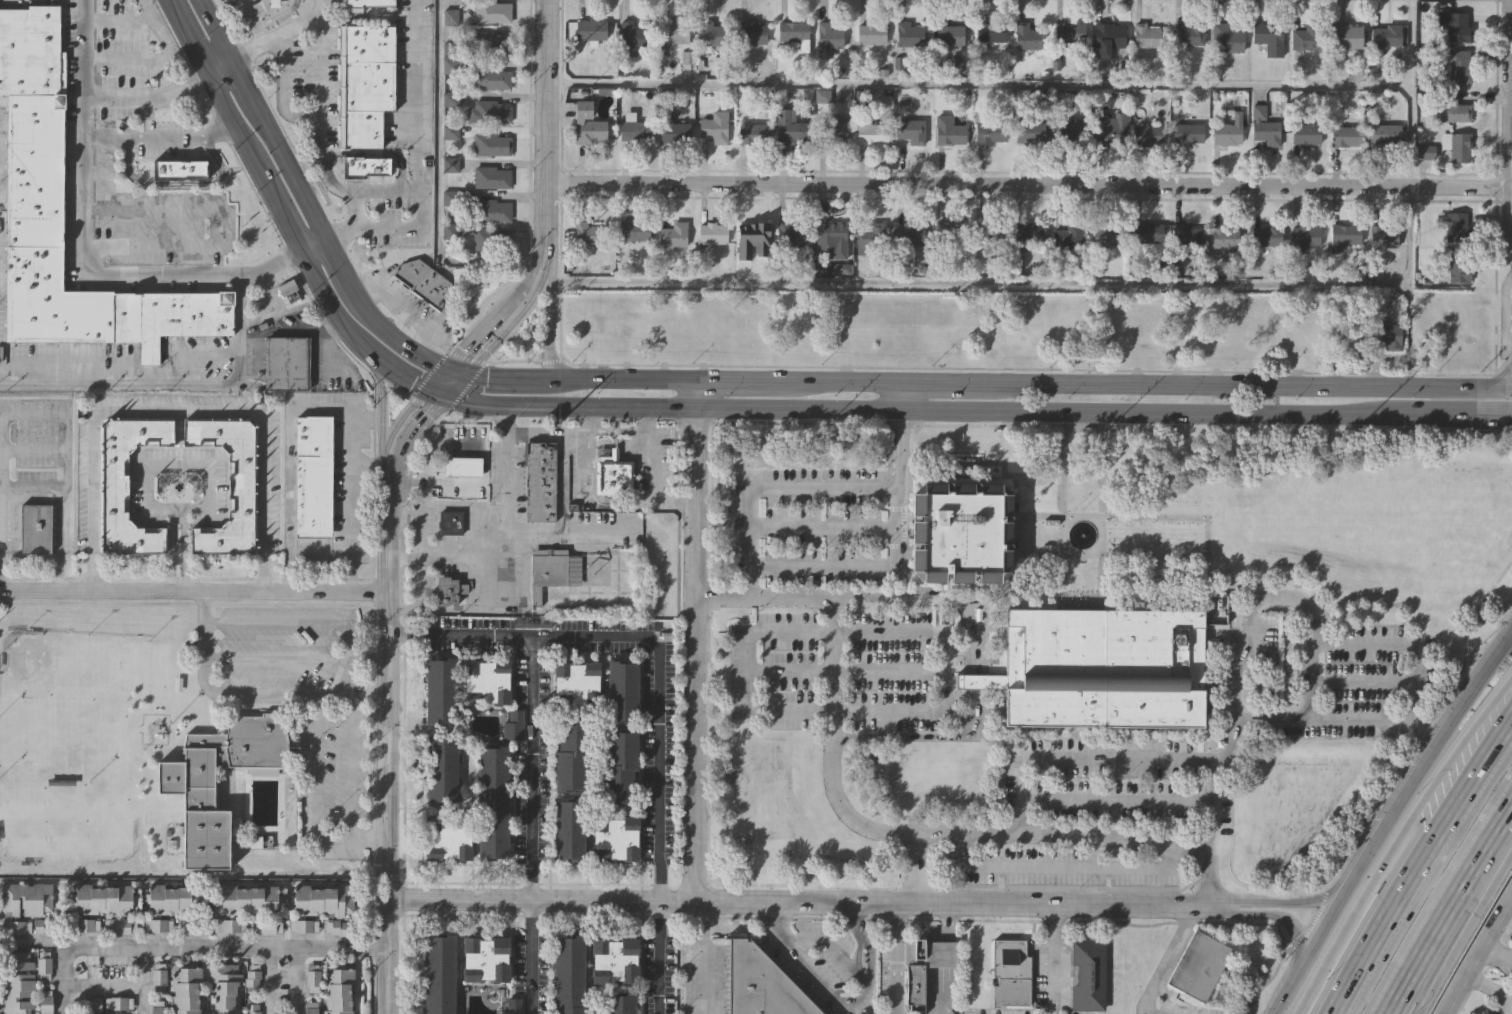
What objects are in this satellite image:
building: (364, 3)
road: (321, 4)
building: (491, 11)
building: (452, 18)
road: (251, 20)
building: (1455, 24)
building: (589, 30)
building: (1069, 31)
road: (277, 32)
building: (673, 32)
building: (794, 32)
building: (1267, 32)
building: (751, 33)
building: (870, 33)
building: (989, 33)
building: (1191, 33)
building: (908, 34)
building: (710, 35)
building: (1145, 35)
building: (1386, 35)
building: (828, 36)
building: (948, 36)
building: (1346, 36)
building: (632, 37)
building: (1026, 37)
building: (1107, 37)
building: (1229, 37)
building: (1307, 37)
building: (489, 42)
road: (219, 64)
building: (1460, 66)
building: (490, 77)
building: (364, 82)
road: (978, 85)
road: (282, 91)
road: (147, 97)
building: (450, 100)
building: (1452, 106)
building: (487, 110)
road: (418, 115)
road: (546, 117)
building: (586, 122)
road: (322, 125)
building: (713, 125)
building: (670, 126)
building: (789, 127)
building: (1264, 127)
building: (833, 128)
building: (1108, 129)
building: (911, 130)
building: (633, 131)
building: (1029, 131)
building: (1068, 131)
road: (1505, 131)
building: (752, 132)
building: (871, 132)
building: (989, 132)
building: (949, 134)
building: (1186, 134)
building: (1225, 134)
building: (1304, 134)
building: (1147, 135)
building: (1384, 135)
building: (1344, 136)
road: (159, 137)
building: (491, 143)
building: (1456, 145)
building: (1424, 153)
building: (365, 166)
building: (179, 169)
building: (491, 176)
road: (437, 180)
road: (1025, 184)
road: (301, 188)
road: (380, 191)
road: (1409, 193)
building: (34, 199)
building: (491, 209)
road: (278, 210)
road: (83, 218)
building: (1455, 226)
building: (631, 228)
road: (373, 229)
building: (710, 230)
building: (585, 232)
building: (1029, 232)
building: (1148, 232)
building: (671, 233)
building: (749, 233)
building: (911, 233)
building: (950, 234)
building: (1069, 234)
building: (1187, 234)
building: (790, 235)
building: (1107, 235)
building: (1266, 235)
building: (1303, 235)
building: (1343, 235)
building: (870, 236)
building: (987, 236)
building: (832, 237)
building: (1223, 237)
building: (1383, 237)
building: (490, 238)
road: (314, 243)
road: (275, 262)
road: (1508, 262)
road: (536, 264)
building: (1458, 267)
building: (423, 282)
road: (980, 283)
building: (289, 289)
road: (1504, 301)
road: (407, 310)
building: (1452, 310)
road: (523, 311)
road: (550, 317)
road: (483, 328)
building: (1387, 334)
building: (1454, 346)
traffic signals: (463, 351)
road: (436, 361)
building: (286, 363)
road: (456, 370)
road: (1498, 375)
road: (174, 377)
road: (626, 377)
traffic signals: (486, 378)
road: (737, 378)
road: (437, 379)
road: (512, 379)
road: (840, 380)
traffic signals: (412, 382)
road: (950, 382)
road: (454, 385)
road: (1204, 385)
road: (1460, 389)
road: (693, 393)
road: (433, 395)
road: (381, 396)
road: (899, 396)
road: (474, 406)
road: (599, 409)
road: (179, 410)
road: (795, 410)
traffic signals: (426, 415)
road: (1155, 415)
road: (1462, 416)
road: (507, 419)
road: (585, 419)
road: (646, 419)
road: (546, 429)
road: (617, 429)
road: (389, 436)
road: (407, 440)
road: (439, 447)
road: (33, 452)
building: (463, 466)
road: (67, 471)
building: (313, 474)
building: (612, 474)
building: (541, 480)
road: (435, 481)
road: (654, 483)
building: (240, 487)
road: (786, 488)
road: (612, 501)
road: (177, 515)
road: (418, 519)
building: (450, 522)
building: (36, 527)
road: (824, 529)
road: (567, 531)
building: (961, 534)
fountain: (1082, 534)
road: (507, 554)
road: (882, 567)
building: (595, 570)
building: (551, 571)
building: (448, 589)
road: (192, 590)
road: (414, 595)
road: (202, 607)
road: (1253, 609)
road: (968, 618)
building: (532, 624)
road: (293, 625)
road: (462, 633)
road: (595, 637)
road: (691, 654)
road: (369, 657)
building: (1101, 668)
road: (832, 670)
parking lot: (834, 672)
road: (1312, 681)
road: (1362, 681)
building: (488, 683)
road: (747, 683)
building: (577, 685)
building: (442, 693)
building: (623, 693)
road: (260, 694)
building: (514, 727)
road: (385, 753)
building: (573, 755)
road: (1458, 761)
road: (1423, 764)
road: (349, 768)
building: (621, 768)
building: (443, 771)
building: (185, 782)
road: (1115, 801)
road: (313, 802)
building: (493, 805)
road: (1212, 806)
building: (570, 831)
road: (945, 835)
building: (449, 839)
building: (616, 839)
road: (1419, 863)
road: (1057, 865)
road: (916, 868)
road: (1492, 877)
road: (1428, 878)
road: (1433, 888)
building: (26, 898)
building: (104, 898)
building: (178, 899)
building: (250, 899)
building: (321, 900)
road: (809, 900)
road: (1287, 900)
road: (1446, 906)
road: (1287, 917)
road: (1349, 917)
road: (777, 919)
road: (945, 921)
building: (85, 925)
parking lot: (85, 925)
building: (158, 925)
parking lot: (158, 925)
building: (229, 925)
parking lot: (229, 925)
building: (302, 925)
parking lot: (302, 925)
building: (121, 926)
parking lot: (121, 926)
building: (16, 927)
parking lot: (16, 927)
building: (193, 927)
parking lot: (193, 927)
building: (267, 927)
parking lot: (267, 927)
building: (337, 927)
parking lot: (337, 927)
road: (863, 941)
road: (831, 948)
road: (191, 949)
road: (940, 953)
road: (1307, 955)
road: (530, 956)
road: (661, 957)
road: (701, 957)
road: (895, 957)
road: (1499, 957)
building: (484, 958)
road: (1054, 958)
road: (1171, 958)
building: (613, 961)
road: (1484, 961)
building: (42, 965)
parking lot: (42, 965)
building: (1198, 965)
road: (1445, 965)
building: (1008, 973)
building: (439, 974)
building: (568, 975)
building: (1084, 975)
building: (157, 976)
parking lot: (157, 976)
building: (312, 977)
parking lot: (312, 977)
building: (251, 978)
parking lot: (251, 978)
building: (15, 982)
road: (270, 982)
road: (296, 982)
road: (119, 984)
building: (761, 984)
building: (914, 985)
road: (824, 986)
building: (225, 988)
building: (184, 989)
building: (338, 990)
road: (937, 990)
road: (1497, 991)
building: (44, 1002)
parking lot: (44, 1002)
building: (118, 1003)
parking lot: (118, 1003)
building: (620, 1004)
building: (156, 1007)
parking lot: (156, 1007)
building: (513, 1007)
building: (310, 1008)
parking lot: (310, 1008)
building: (251, 1009)
parking lot: (251, 1009)
road: (895, 1013)

